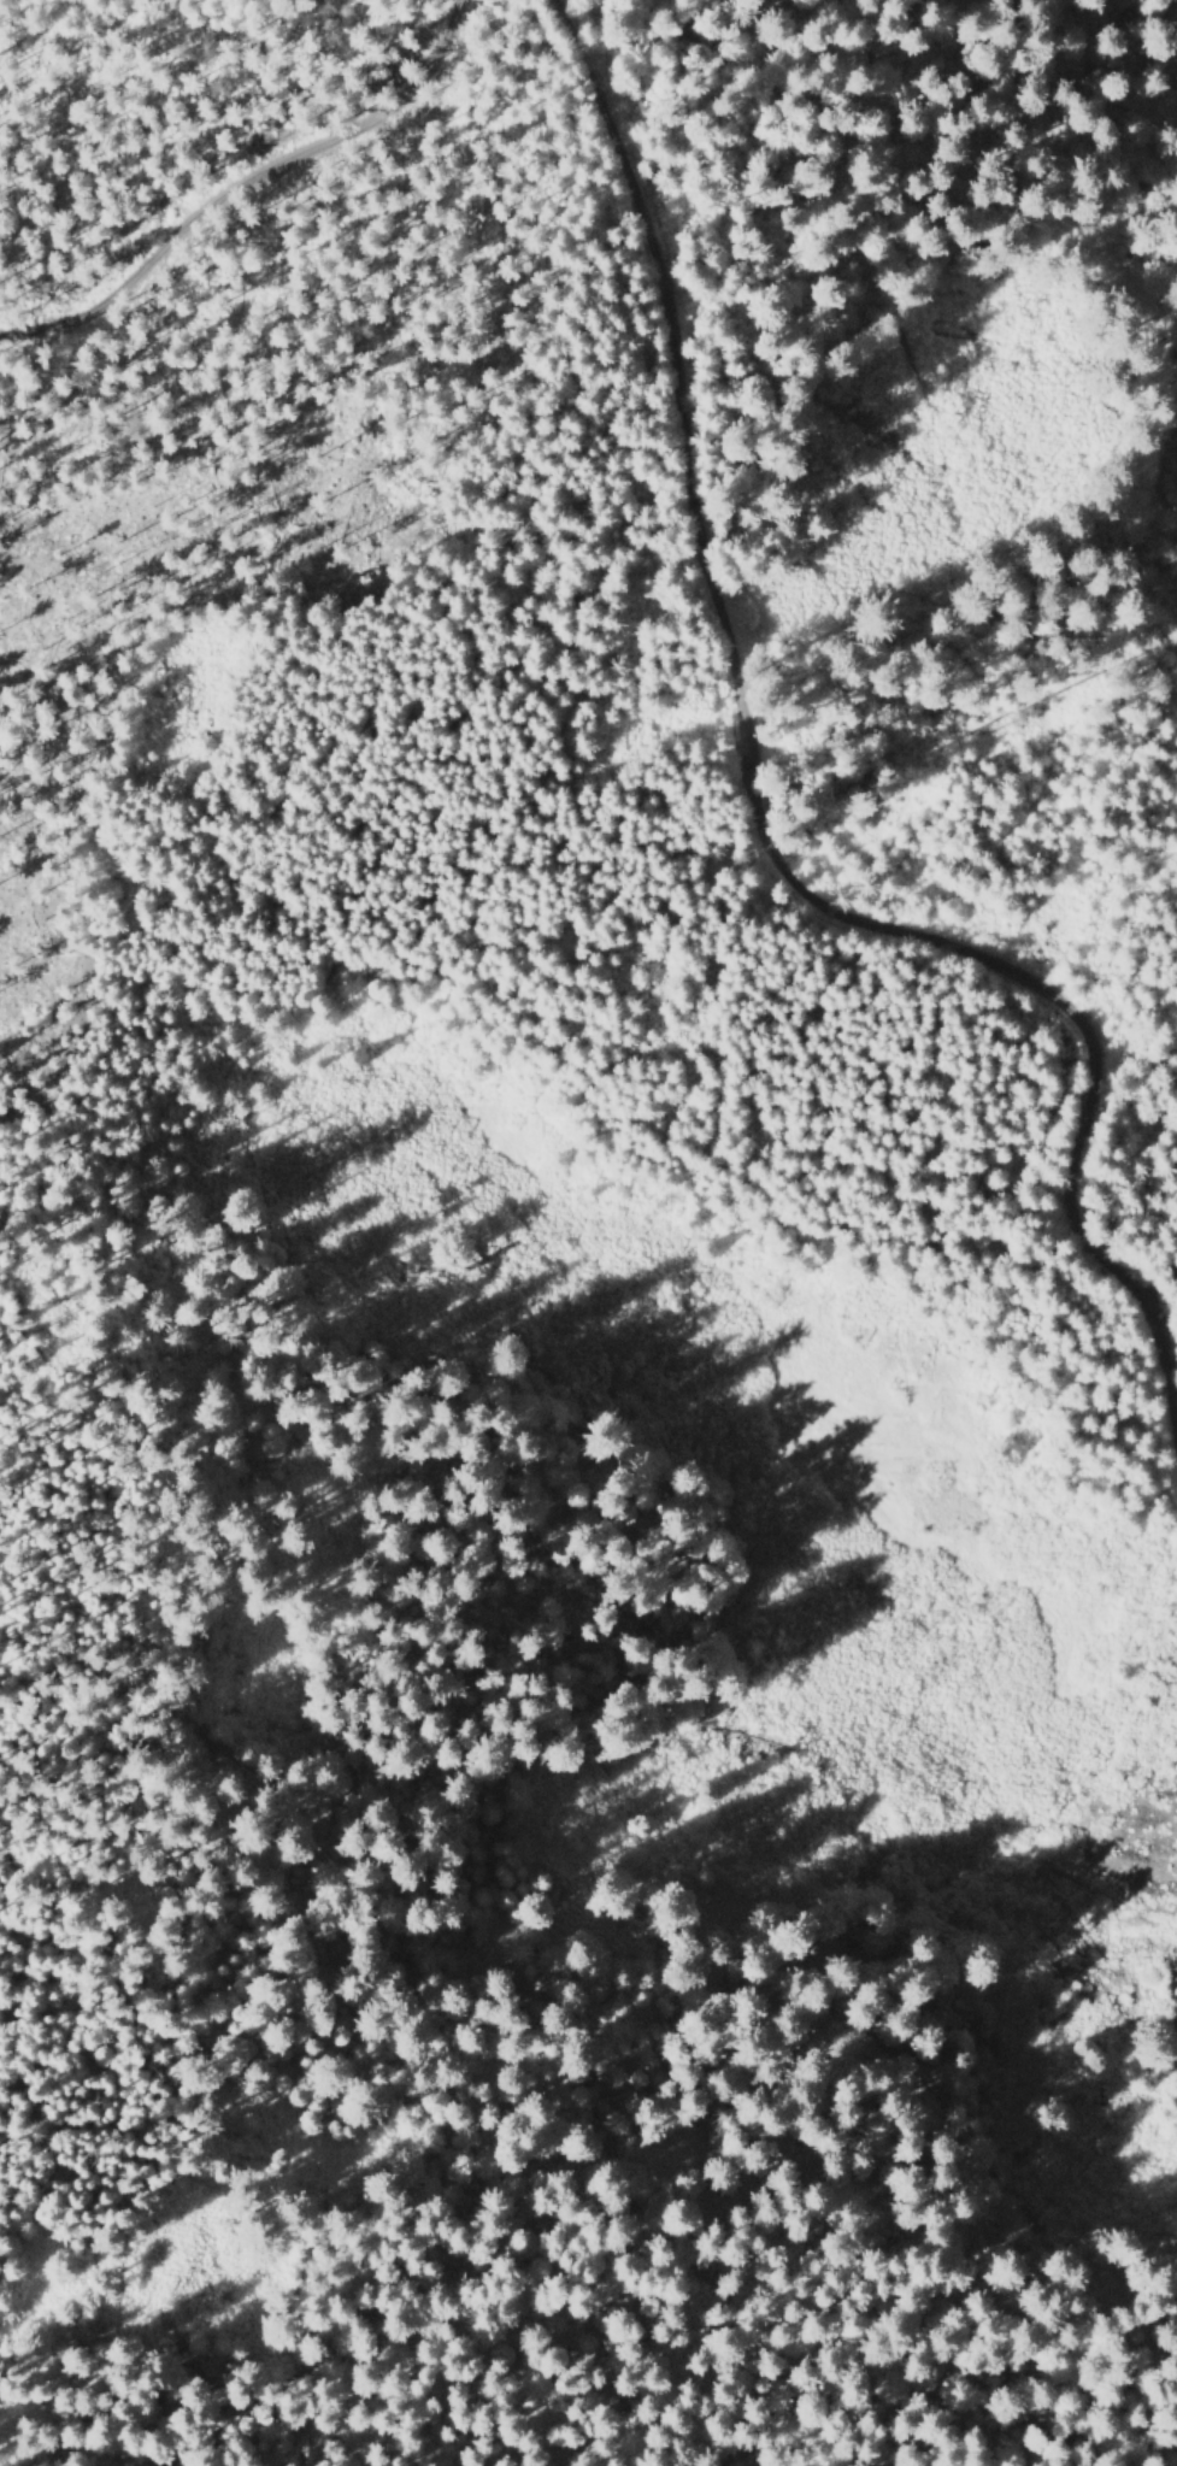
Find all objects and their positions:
road: (246, 186)
road: (765, 844)

